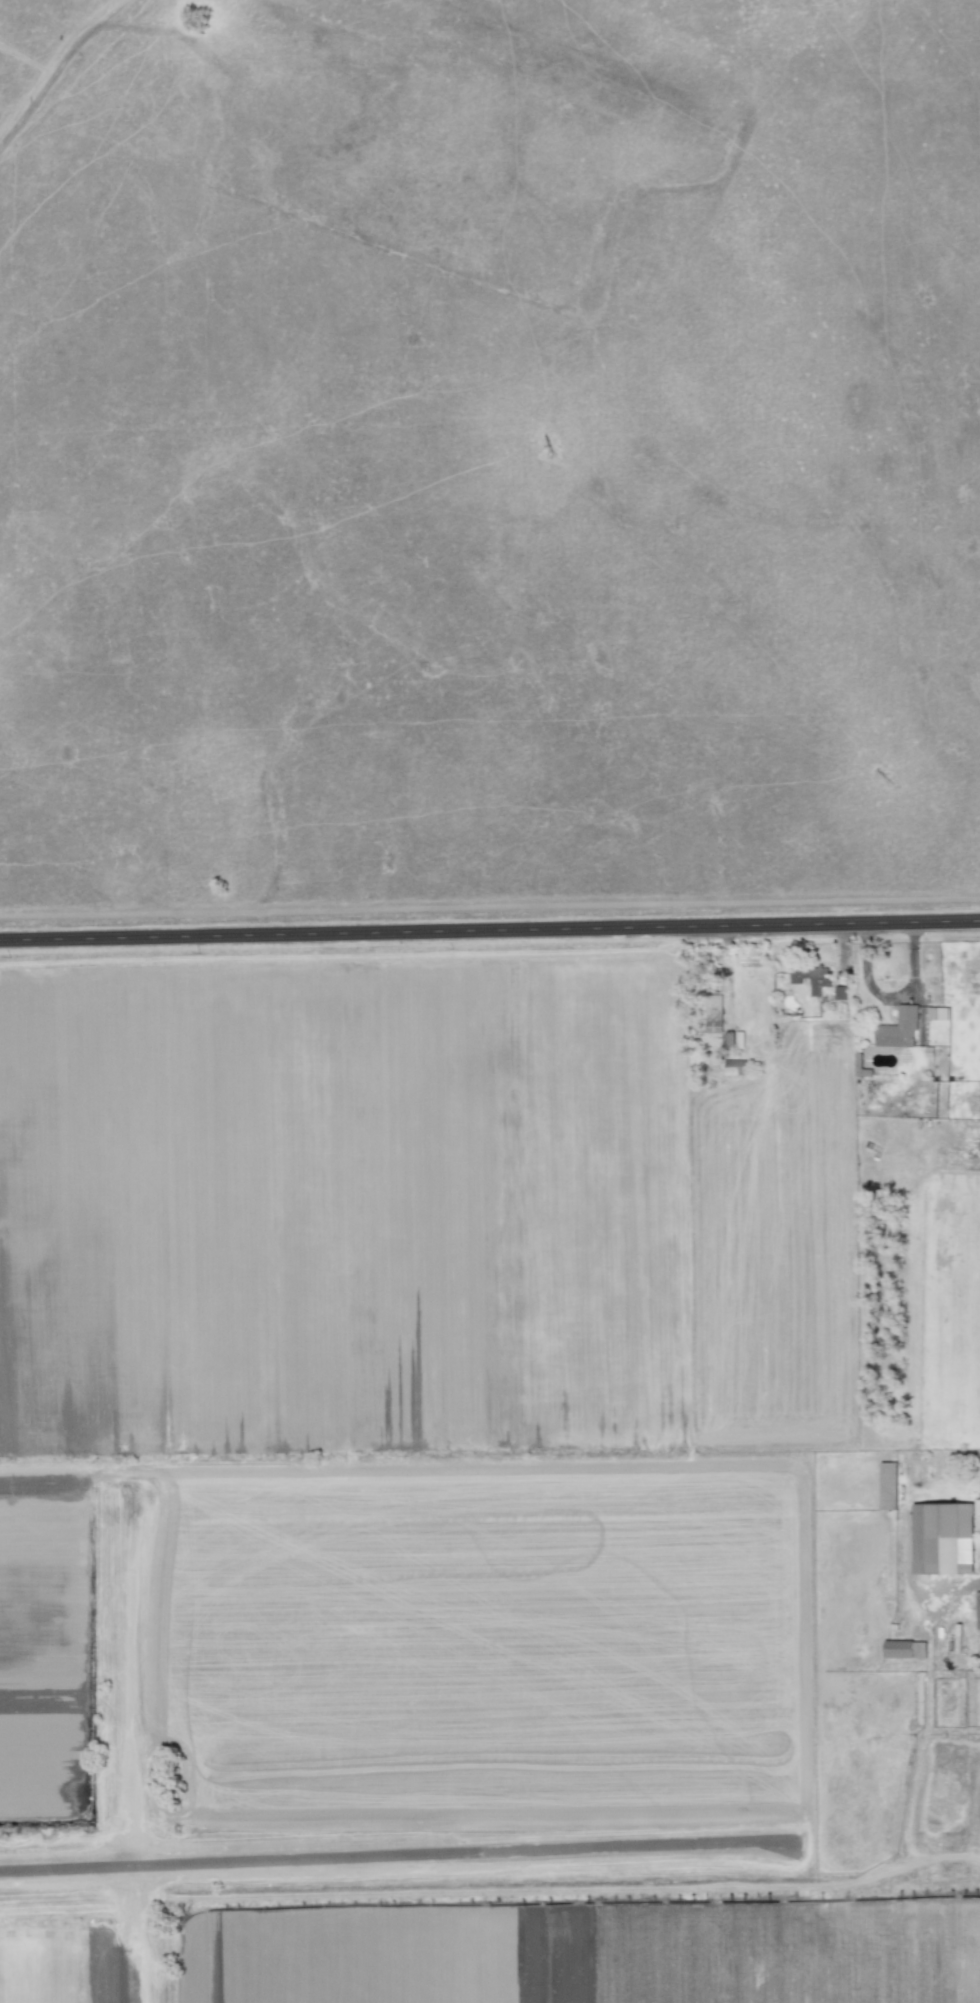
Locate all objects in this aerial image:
road: (489, 932)
building: (810, 978)
road: (887, 996)
building: (713, 1014)
building: (937, 1017)
building: (898, 1030)
building: (733, 1040)
building: (735, 1068)
building: (888, 1486)
building: (976, 1507)
building: (942, 1539)
building: (977, 1611)
building: (903, 1650)
airport runway: (395, 1854)

